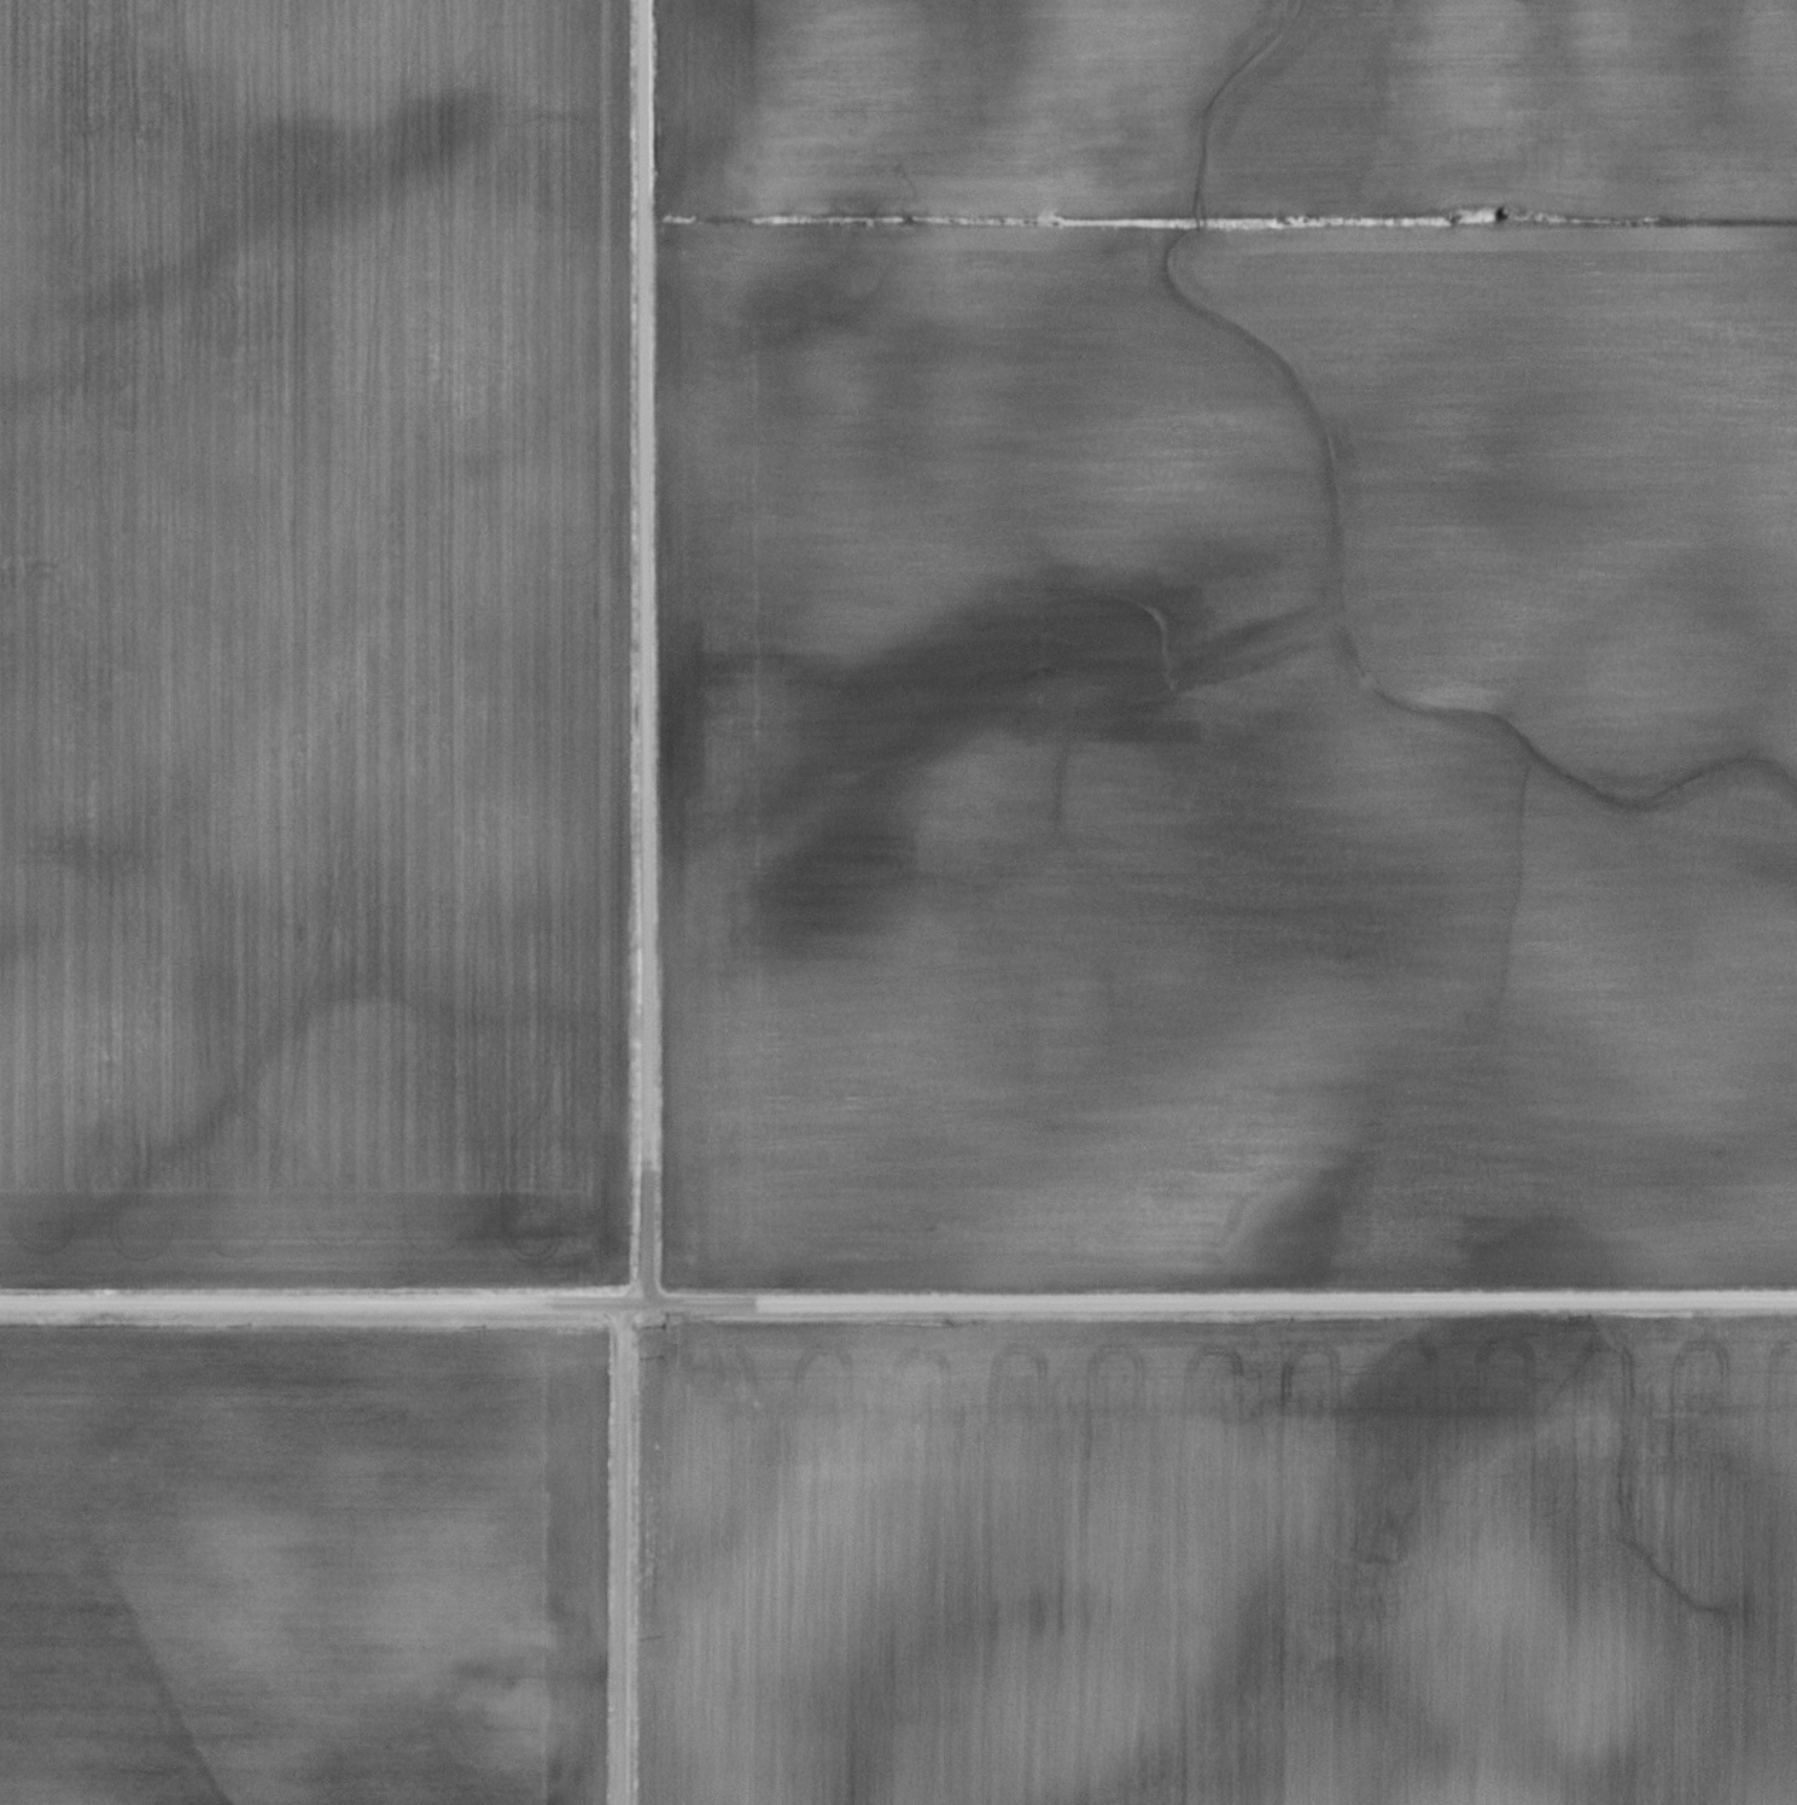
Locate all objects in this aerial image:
road: (644, 650)
road: (898, 1298)
road: (620, 1549)

